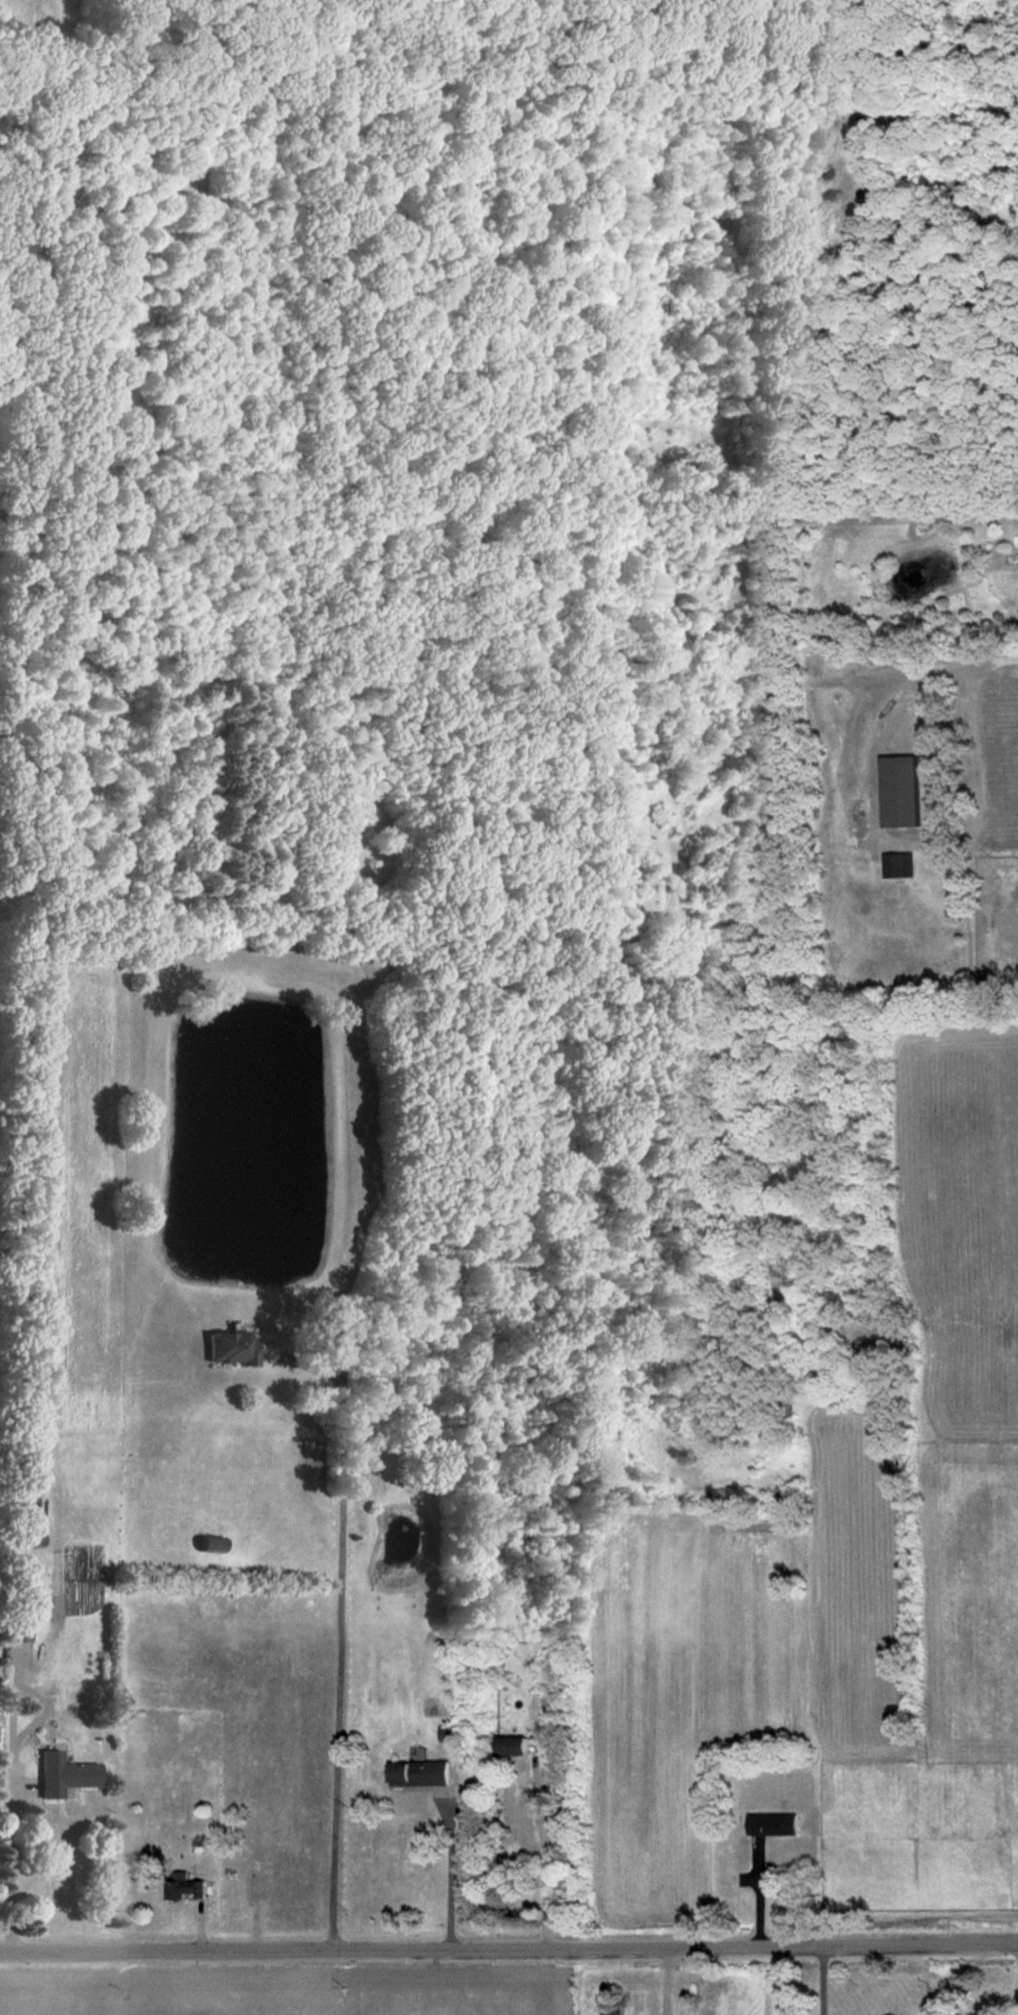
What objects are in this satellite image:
road: (994, 660)
building: (900, 791)
road: (889, 843)
building: (899, 865)
building: (231, 1347)
building: (32, 1540)
building: (212, 1544)
building: (21, 1614)
road: (338, 1644)
building: (510, 1746)
building: (419, 1773)
building: (65, 1774)
building: (772, 1824)
road: (545, 1859)
road: (11, 1866)
road: (448, 1882)
building: (184, 1887)
road: (758, 1894)
road: (509, 1952)
road: (1017, 1978)
road: (822, 1980)

